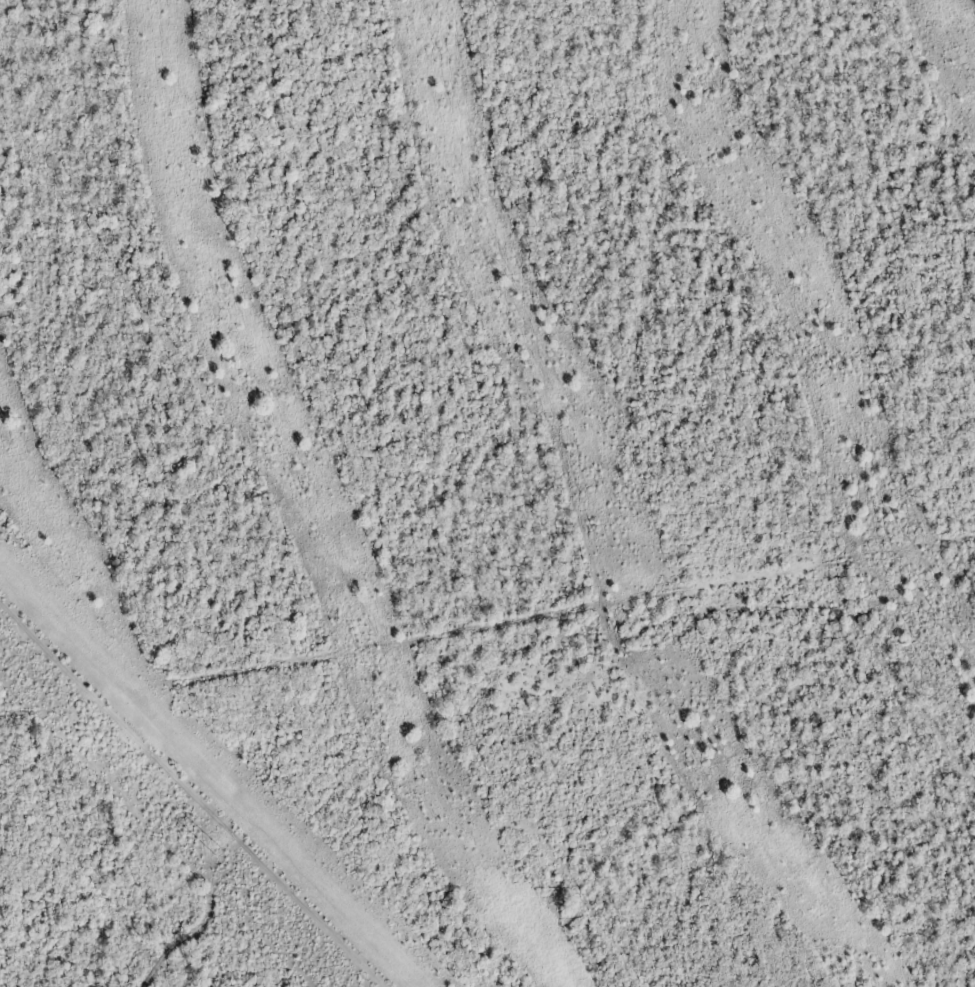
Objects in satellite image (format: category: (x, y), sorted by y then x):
power tower: (218, 853)

